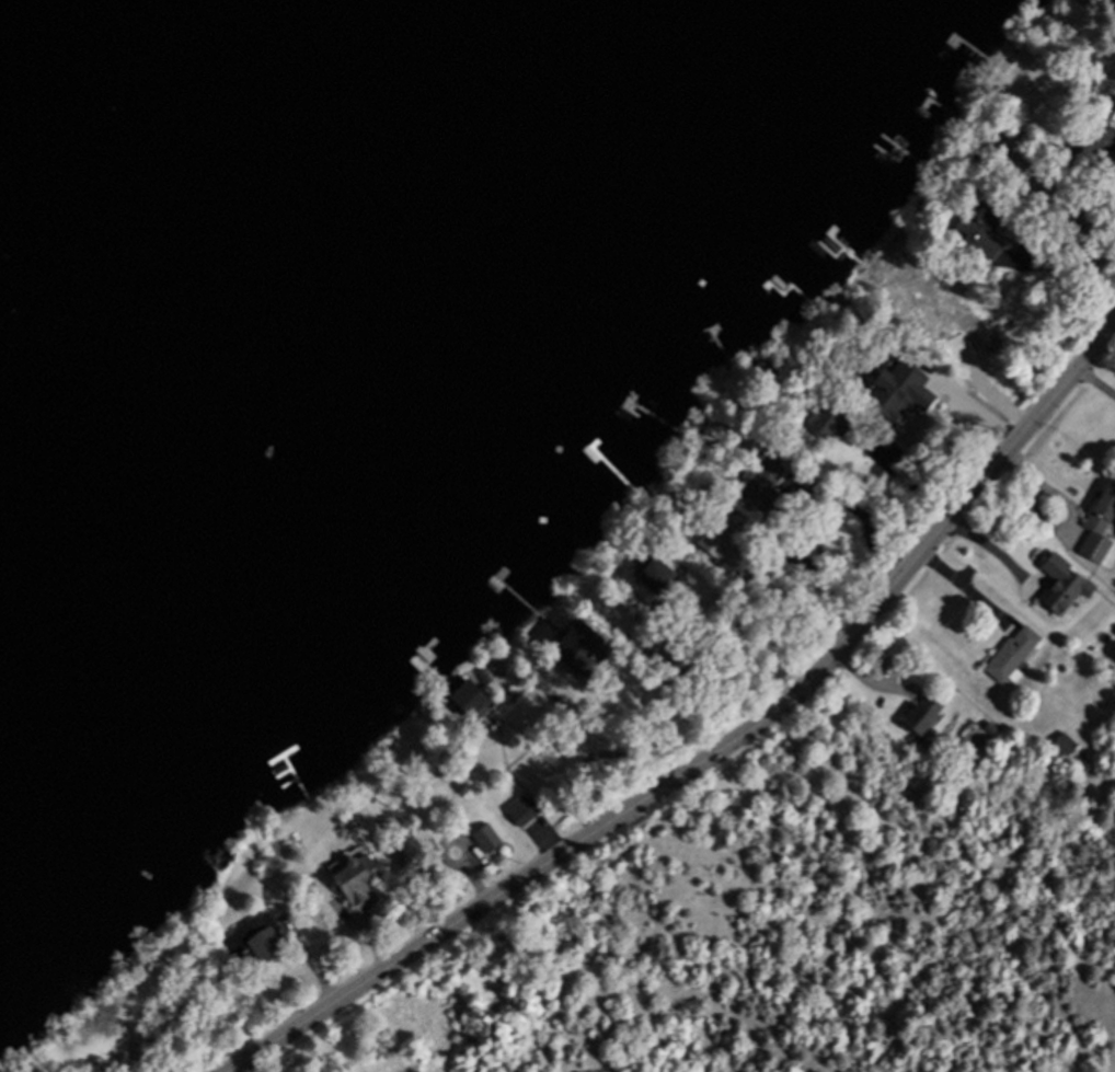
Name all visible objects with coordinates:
building: (1110, 12)
building: (1092, 57)
building: (1087, 137)
building: (979, 232)
road: (1069, 284)
building: (952, 345)
building: (762, 368)
building: (875, 383)
building: (917, 383)
building: (831, 422)
road: (905, 474)
building: (762, 482)
road: (1039, 483)
road: (854, 514)
building: (1096, 522)
building: (719, 538)
road: (995, 550)
road: (817, 569)
building: (647, 574)
building: (1058, 581)
road: (966, 590)
building: (738, 621)
building: (665, 627)
building: (746, 638)
building: (575, 647)
building: (1009, 650)
building: (493, 667)
building: (481, 673)
building: (464, 698)
building: (554, 699)
building: (920, 712)
building: (1060, 741)
road: (717, 750)
road: (635, 754)
building: (518, 812)
building: (387, 821)
building: (486, 833)
building: (352, 877)
building: (251, 937)
road: (234, 1070)

